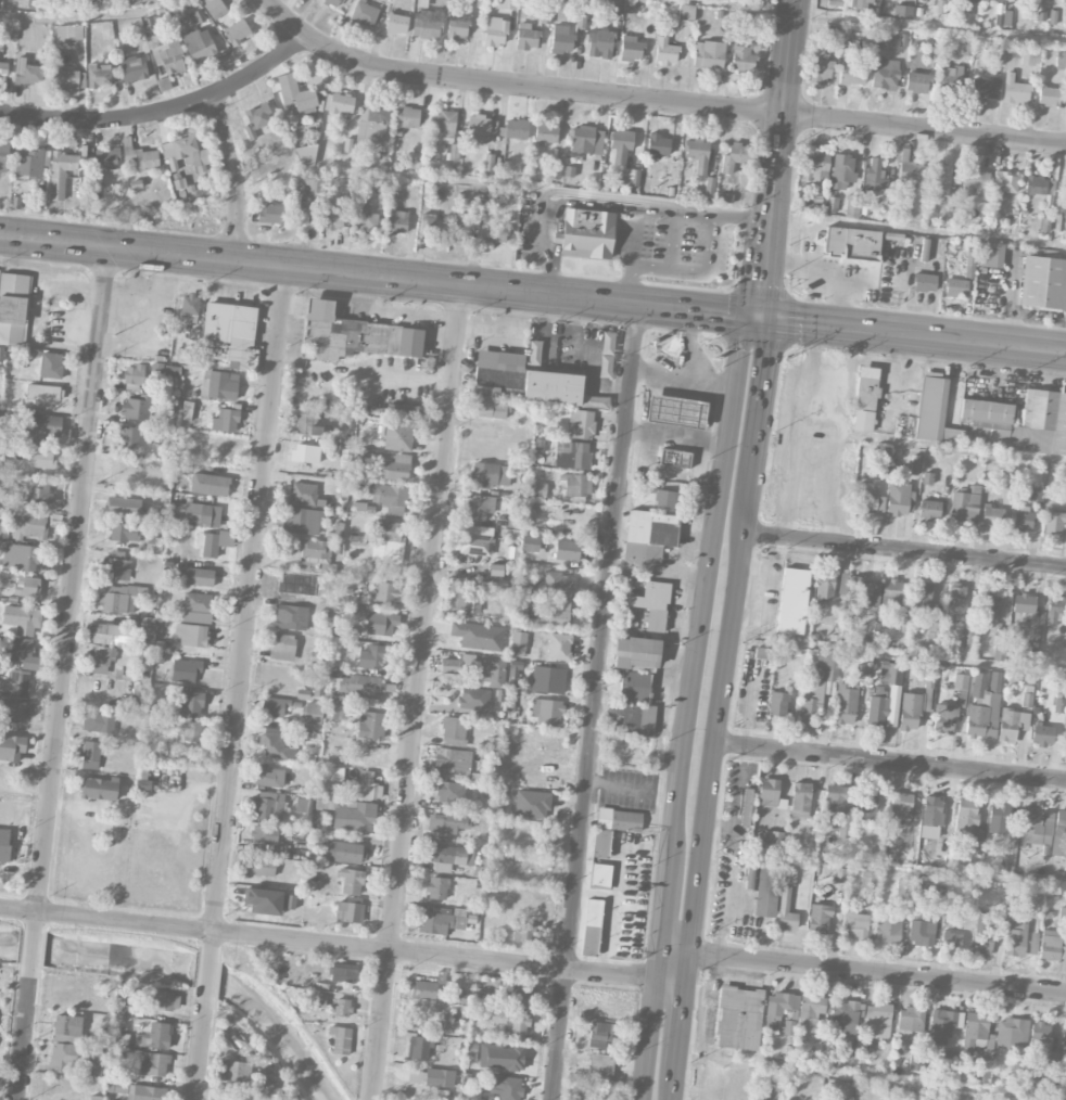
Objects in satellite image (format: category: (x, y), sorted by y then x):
building: (1062, 2)
building: (332, 3)
building: (507, 4)
building: (616, 4)
building: (863, 4)
building: (214, 7)
building: (686, 12)
building: (365, 14)
building: (196, 16)
road: (93, 17)
building: (1003, 18)
road: (870, 21)
building: (749, 23)
building: (396, 24)
building: (427, 25)
building: (457, 26)
building: (237, 31)
building: (496, 31)
building: (68, 34)
building: (526, 37)
building: (561, 40)
building: (599, 43)
building: (199, 46)
building: (631, 49)
building: (665, 52)
building: (709, 54)
building: (168, 56)
building: (1030, 56)
building: (743, 60)
building: (1061, 61)
building: (134, 69)
building: (3, 71)
building: (821, 71)
building: (27, 73)
building: (852, 73)
building: (885, 74)
building: (99, 75)
building: (952, 77)
building: (67, 79)
building: (917, 82)
building: (983, 88)
building: (1015, 90)
building: (1049, 95)
building: (301, 100)
road: (655, 101)
building: (339, 103)
road: (162, 108)
building: (408, 117)
building: (257, 119)
building: (372, 124)
building: (443, 127)
building: (516, 129)
building: (481, 130)
building: (545, 132)
building: (586, 140)
building: (621, 145)
building: (657, 145)
building: (453, 152)
building: (188, 153)
building: (698, 154)
building: (305, 156)
building: (3, 157)
building: (734, 157)
building: (107, 158)
road: (778, 158)
building: (415, 161)
building: (488, 162)
building: (29, 163)
building: (814, 165)
building: (841, 171)
building: (61, 174)
building: (630, 177)
building: (875, 177)
building: (911, 177)
road: (233, 178)
building: (940, 181)
building: (975, 181)
building: (1004, 184)
building: (1039, 186)
building: (310, 187)
road: (1058, 193)
road: (648, 202)
building: (852, 206)
road: (627, 207)
building: (477, 209)
building: (269, 214)
building: (300, 216)
building: (334, 218)
building: (365, 219)
building: (396, 222)
building: (431, 225)
building: (462, 228)
building: (587, 233)
building: (497, 234)
road: (672, 236)
road: (543, 242)
building: (852, 244)
building: (985, 255)
road: (631, 259)
road: (698, 270)
building: (925, 282)
building: (1043, 283)
building: (956, 287)
road: (533, 293)
building: (13, 308)
building: (189, 308)
traffic signals: (761, 318)
building: (229, 334)
building: (354, 335)
building: (534, 351)
building: (50, 366)
building: (496, 372)
building: (134, 374)
building: (219, 385)
building: (551, 387)
building: (866, 388)
building: (41, 394)
building: (136, 408)
building: (490, 410)
building: (186, 411)
building: (406, 412)
road: (758, 413)
building: (225, 421)
building: (862, 421)
building: (1043, 422)
building: (308, 424)
building: (580, 424)
building: (42, 429)
building: (695, 432)
building: (398, 436)
building: (129, 437)
road: (966, 451)
building: (303, 453)
building: (571, 455)
building: (883, 456)
building: (42, 459)
building: (359, 460)
building: (396, 468)
building: (180, 470)
building: (490, 475)
building: (1065, 477)
building: (927, 478)
building: (210, 485)
building: (575, 488)
building: (537, 490)
building: (39, 493)
building: (304, 495)
building: (1037, 495)
building: (867, 497)
building: (390, 498)
building: (899, 498)
building: (665, 500)
building: (124, 507)
building: (480, 507)
building: (964, 507)
building: (929, 510)
building: (201, 514)
building: (992, 515)
building: (1023, 517)
building: (304, 521)
building: (1054, 522)
building: (28, 526)
building: (124, 532)
building: (475, 540)
building: (389, 541)
building: (215, 542)
building: (530, 543)
building: (316, 549)
building: (568, 550)
road: (903, 550)
building: (25, 558)
building: (116, 570)
building: (199, 577)
building: (557, 584)
building: (843, 584)
building: (27, 587)
building: (823, 588)
road: (71, 590)
building: (385, 592)
building: (862, 593)
building: (891, 596)
building: (923, 596)
building: (119, 599)
building: (461, 601)
building: (792, 601)
building: (198, 602)
building: (956, 603)
building: (1024, 603)
building: (652, 605)
building: (989, 605)
building: (1054, 610)
road: (245, 611)
building: (559, 614)
building: (196, 617)
building: (294, 617)
building: (22, 619)
building: (381, 624)
building: (935, 629)
building: (113, 635)
building: (190, 636)
building: (478, 636)
building: (968, 636)
building: (519, 641)
road: (697, 643)
building: (281, 647)
building: (559, 647)
building: (23, 652)
building: (1000, 652)
building: (762, 653)
building: (636, 654)
road: (897, 655)
building: (370, 657)
building: (100, 660)
building: (828, 666)
building: (457, 667)
building: (186, 670)
building: (496, 673)
building: (515, 673)
building: (553, 680)
building: (961, 681)
building: (360, 687)
building: (634, 687)
building: (894, 690)
road: (417, 693)
building: (138, 695)
building: (473, 699)
building: (811, 700)
road: (594, 701)
building: (845, 703)
building: (192, 704)
building: (778, 704)
building: (272, 708)
building: (13, 709)
building: (331, 711)
building: (982, 711)
building: (547, 712)
building: (910, 712)
building: (313, 714)
building: (630, 718)
building: (944, 719)
building: (98, 722)
building: (370, 725)
building: (1008, 727)
building: (192, 731)
road: (714, 731)
building: (455, 732)
building: (1042, 736)
building: (1065, 737)
building: (276, 744)
building: (12, 747)
building: (91, 751)
road: (889, 760)
building: (89, 765)
building: (267, 777)
building: (330, 781)
building: (365, 788)
building: (100, 789)
building: (447, 792)
building: (770, 793)
building: (800, 801)
building: (532, 804)
building: (900, 805)
building: (268, 806)
building: (303, 806)
building: (746, 807)
building: (838, 808)
building: (865, 810)
building: (931, 810)
building: (353, 816)
building: (966, 816)
building: (998, 819)
building: (619, 820)
building: (444, 827)
building: (1036, 827)
building: (265, 834)
building: (1059, 835)
building: (773, 840)
building: (600, 844)
building: (4, 845)
building: (941, 845)
building: (975, 847)
building: (344, 853)
building: (449, 857)
building: (258, 867)
road: (908, 869)
building: (837, 874)
building: (600, 877)
building: (351, 881)
building: (903, 886)
building: (436, 888)
building: (766, 891)
building: (290, 901)
building: (786, 909)
building: (348, 912)
building: (593, 912)
building: (818, 919)
building: (441, 923)
building: (855, 925)
building: (888, 929)
building: (921, 931)
building: (983, 935)
building: (1016, 939)
building: (951, 941)
road: (327, 944)
building: (1032, 944)
building: (1052, 946)
road: (31, 955)
road: (673, 964)
road: (878, 972)
building: (343, 973)
road: (207, 976)
building: (423, 990)
building: (516, 996)
building: (164, 1001)
building: (342, 1008)
building: (778, 1010)
road: (682, 1012)
building: (810, 1012)
building: (845, 1012)
building: (739, 1019)
building: (877, 1021)
building: (910, 1021)
building: (511, 1022)
building: (942, 1025)
building: (67, 1028)
building: (975, 1032)
building: (600, 1033)
building: (1011, 1033)
building: (1040, 1033)
building: (154, 1036)
road: (648, 1038)
road: (22, 1039)
building: (341, 1040)
building: (1064, 1040)
building: (419, 1048)
road: (200, 1049)
building: (849, 1054)
building: (64, 1058)
building: (500, 1058)
building: (950, 1058)
building: (916, 1061)
building: (1052, 1061)
building: (1017, 1064)
building: (153, 1065)
building: (600, 1067)
building: (236, 1072)
building: (980, 1073)
road: (871, 1076)
building: (439, 1078)
building: (1062, 1083)
building: (117, 1086)
building: (266, 1086)
road: (672, 1087)
building: (505, 1088)
building: (578, 1092)
building: (147, 1093)
building: (243, 1098)
building: (594, 1098)

